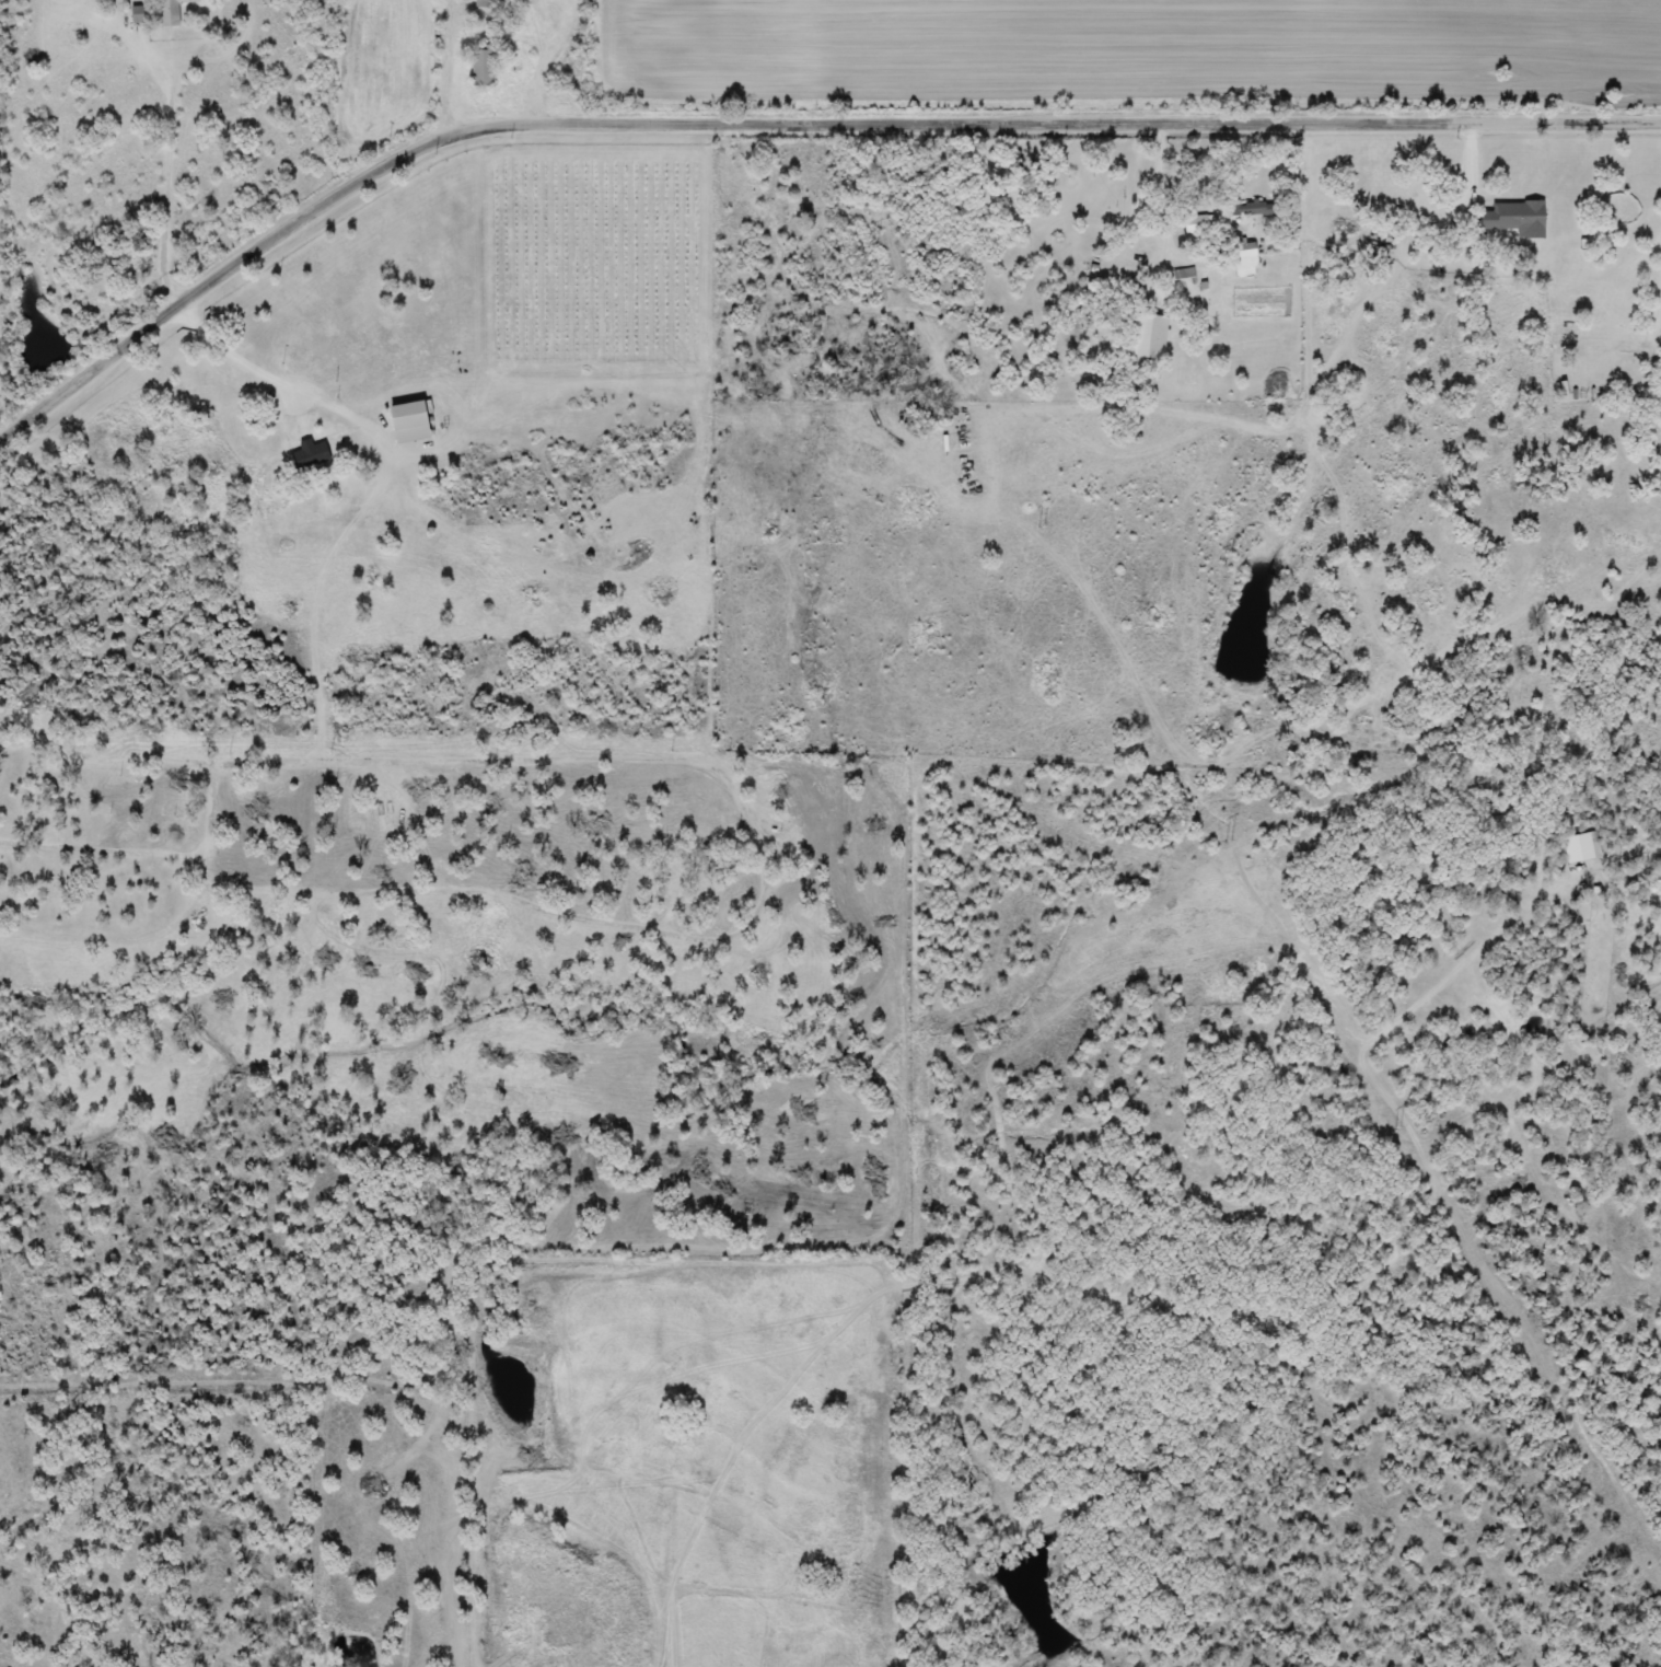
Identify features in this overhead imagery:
building: (170, 12)
building: (136, 14)
road: (450, 66)
building: (479, 67)
road: (545, 67)
road: (781, 120)
road: (1473, 171)
road: (169, 184)
building: (1252, 209)
building: (1512, 219)
building: (1199, 225)
road: (1201, 263)
building: (1152, 335)
road: (1654, 336)
building: (406, 422)
building: (307, 455)
road: (723, 771)
building: (7, 791)
building: (177, 794)
building: (503, 806)
building: (345, 809)
road: (418, 823)
building: (161, 827)
road: (104, 847)
building: (1580, 847)
building: (381, 857)
building: (673, 871)
building: (5, 896)
road: (172, 921)

